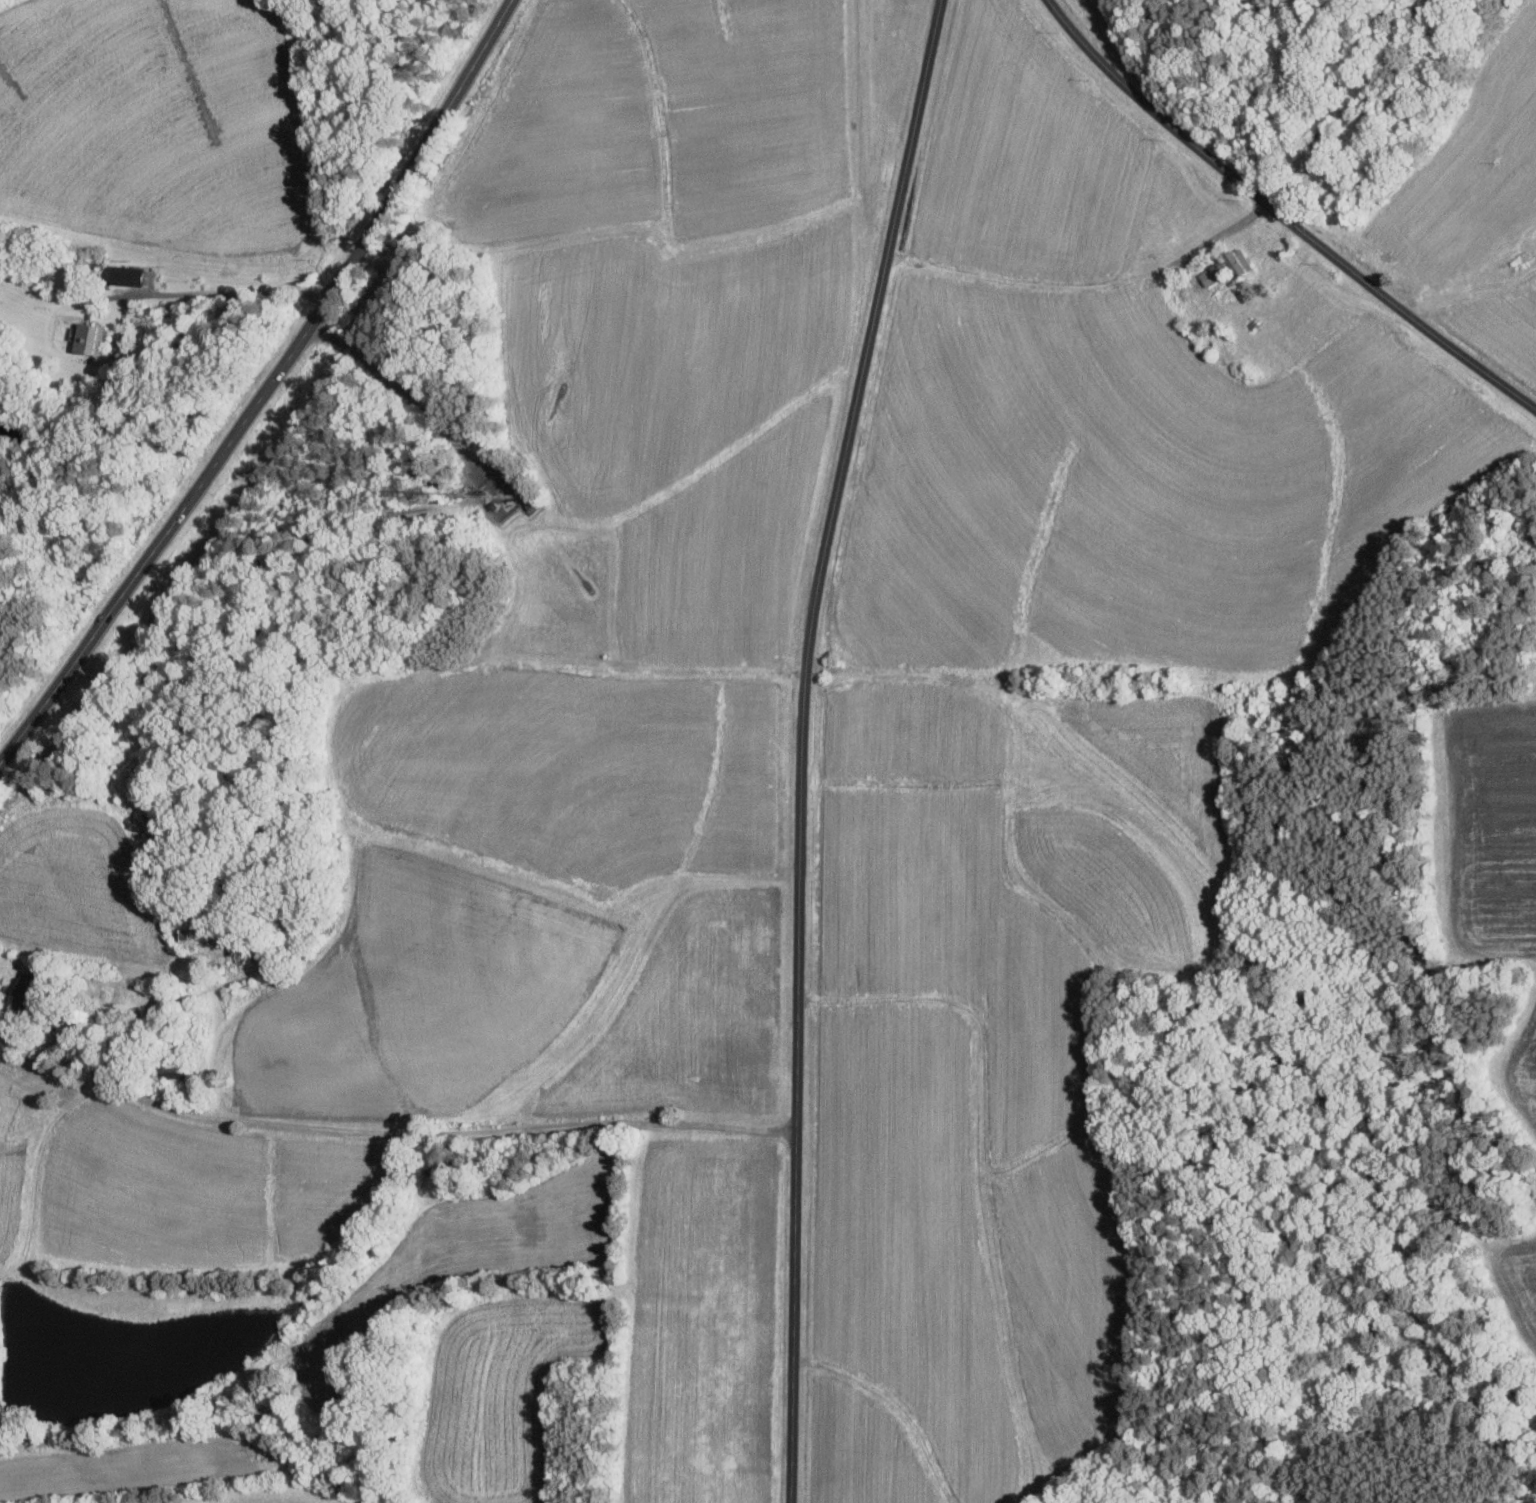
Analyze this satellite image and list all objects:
road: (1282, 216)
road: (1213, 236)
building: (1233, 261)
building: (1208, 274)
building: (139, 275)
road: (126, 305)
building: (95, 337)
road: (399, 384)
road: (267, 389)
road: (802, 744)
building: (32, 990)
building: (1, 1112)
road: (387, 1130)

